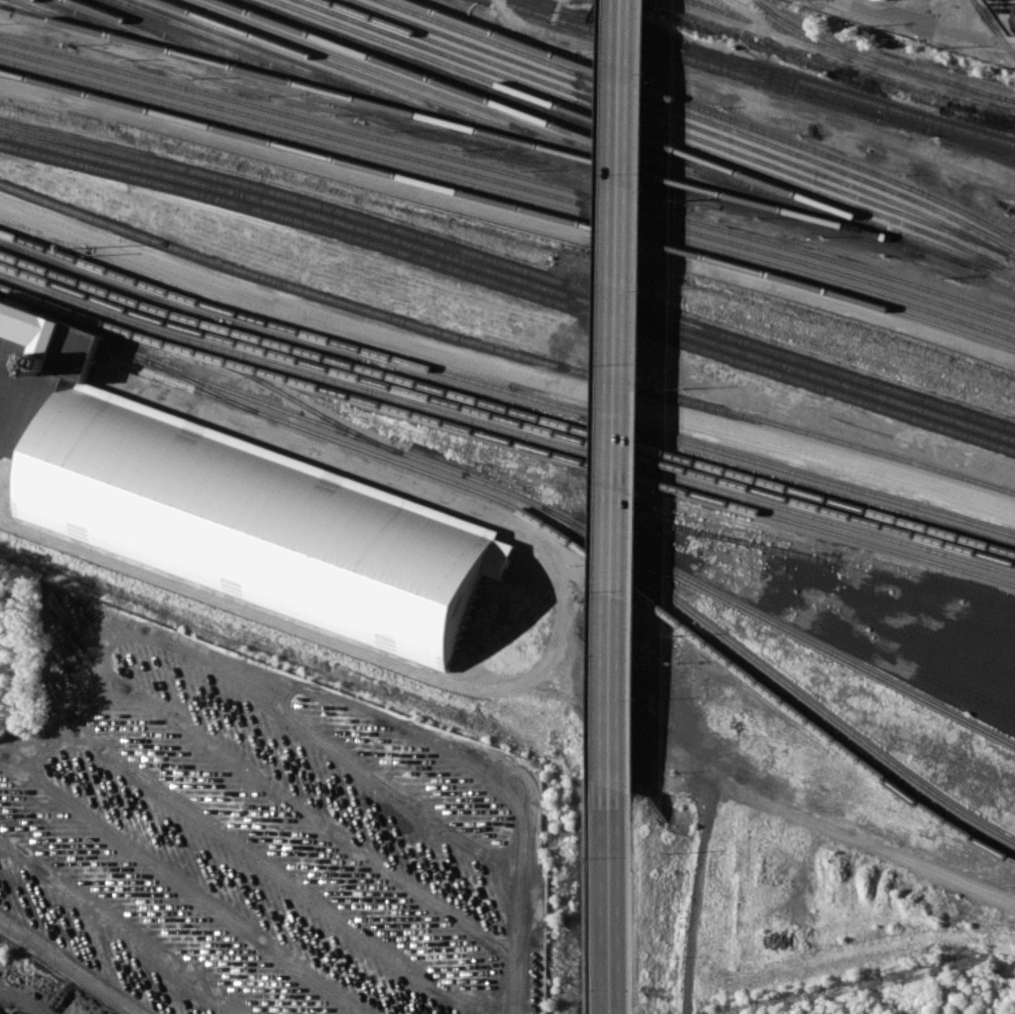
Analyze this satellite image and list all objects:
railway: (5, 5)
railway: (978, 6)
railway: (60, 17)
railway: (993, 27)
railway: (125, 30)
railway: (815, 38)
railway: (190, 43)
railway: (255, 56)
railway: (318, 69)
railway: (774, 71)
railway: (758, 77)
railway: (780, 79)
railway: (383, 81)
railway: (947, 83)
railway: (448, 94)
railway: (513, 107)
railway: (716, 112)
railway: (697, 118)
railway: (577, 119)
railway: (682, 119)
railway: (674, 127)
railway: (663, 132)
railway: (510, 136)
railway: (647, 136)
railway: (976, 147)
railway: (509, 173)
railway: (509, 182)
railway: (508, 194)
railway: (508, 206)
road: (510, 215)
railway: (510, 264)
railway: (510, 275)
railway: (510, 285)
railway: (503, 348)
road: (502, 372)
railway: (201, 384)
railway: (505, 388)
railway: (292, 396)
railway: (506, 406)
railway: (505, 417)
railway: (505, 427)
railway: (506, 438)
railway: (543, 505)
building: (221, 506)
road: (621, 507)
railway: (543, 522)
road: (562, 568)
railway: (778, 624)

